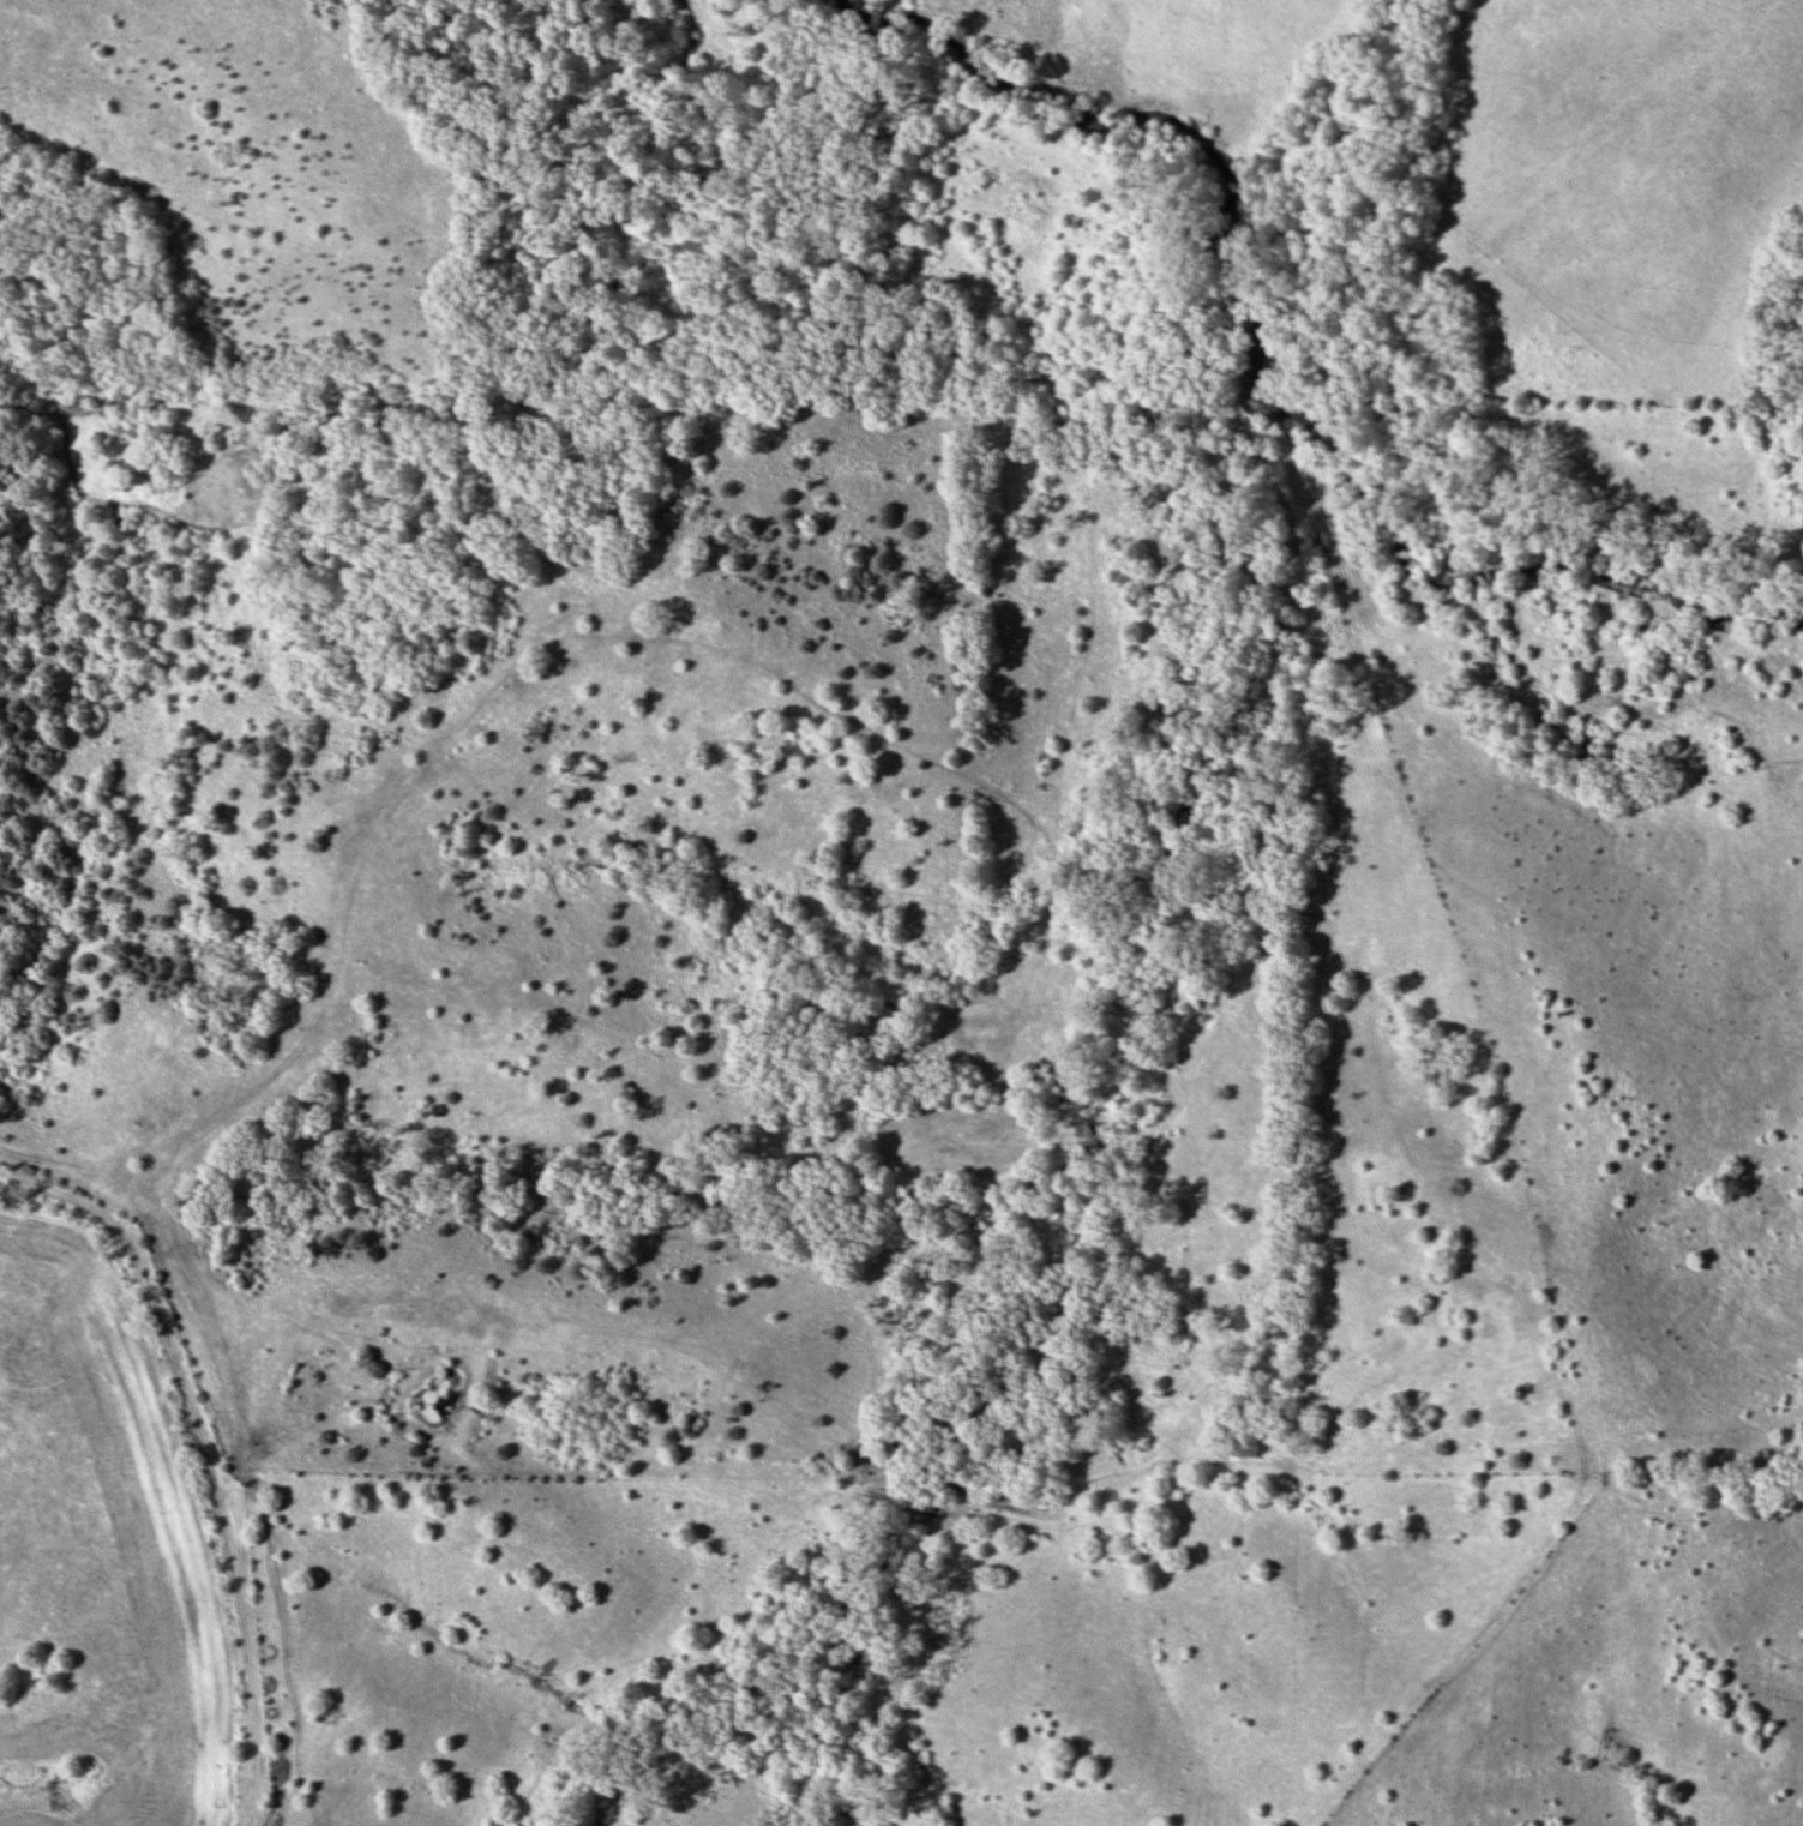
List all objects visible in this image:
road: (214, 1454)

